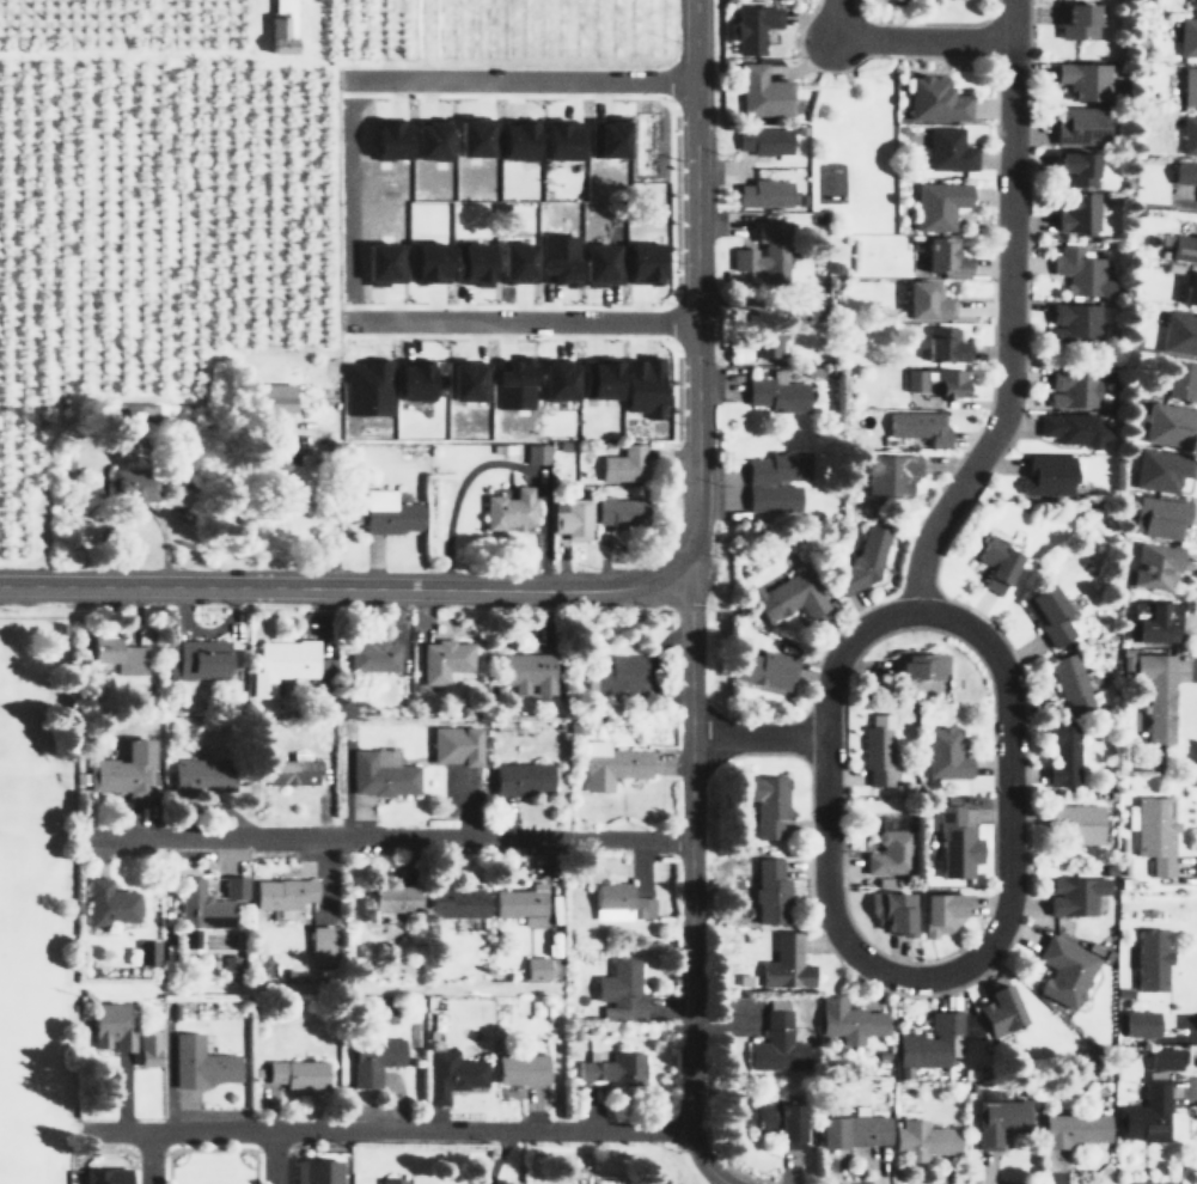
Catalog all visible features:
building: (1193, 4)
building: (1076, 20)
road: (927, 22)
building: (279, 28)
building: (750, 28)
building: (1187, 36)
road: (905, 39)
road: (975, 39)
road: (871, 54)
road: (519, 78)
building: (1082, 79)
building: (1189, 85)
building: (761, 91)
building: (934, 99)
building: (1080, 124)
building: (475, 135)
building: (1189, 135)
building: (609, 136)
building: (387, 140)
building: (427, 140)
building: (514, 140)
building: (561, 140)
building: (763, 140)
park: (853, 147)
building: (948, 148)
building: (1075, 167)
building: (1184, 172)
building: (763, 193)
road: (342, 197)
building: (938, 205)
building: (1077, 213)
building: (1180, 245)
building: (765, 252)
building: (942, 256)
building: (556, 258)
building: (381, 262)
building: (426, 262)
building: (514, 262)
building: (641, 262)
building: (470, 263)
building: (1082, 271)
road: (697, 283)
building: (1190, 289)
building: (926, 301)
building: (806, 307)
road: (1009, 316)
road: (519, 318)
building: (1074, 322)
building: (1179, 332)
building: (768, 336)
building: (941, 343)
building: (597, 377)
building: (555, 379)
building: (914, 379)
building: (410, 380)
building: (466, 380)
building: (1180, 380)
building: (949, 383)
building: (511, 384)
building: (642, 385)
building: (366, 387)
building: (1073, 389)
building: (776, 392)
building: (269, 397)
building: (1168, 423)
building: (918, 426)
building: (1073, 428)
building: (536, 453)
road: (957, 462)
building: (624, 463)
building: (1160, 470)
building: (888, 474)
building: (1046, 475)
building: (776, 480)
building: (133, 489)
building: (509, 509)
building: (389, 512)
building: (621, 512)
building: (572, 517)
building: (1158, 518)
building: (861, 561)
building: (994, 563)
building: (1154, 566)
road: (347, 586)
road: (1195, 591)
building: (788, 596)
building: (1048, 614)
building: (1153, 621)
road: (920, 628)
building: (118, 654)
building: (374, 655)
building: (197, 658)
building: (444, 660)
building: (1126, 661)
building: (283, 664)
building: (921, 665)
building: (763, 669)
building: (529, 671)
building: (623, 673)
building: (1070, 682)
building: (1158, 694)
road: (1028, 702)
park: (4, 707)
building: (456, 736)
road: (807, 737)
road: (758, 738)
building: (878, 749)
building: (610, 753)
building: (943, 753)
building: (1062, 755)
building: (378, 762)
building: (518, 769)
building: (124, 770)
building: (292, 770)
building: (203, 774)
building: (769, 804)
building: (1077, 822)
building: (1154, 831)
road: (395, 836)
building: (955, 844)
road: (1010, 849)
road: (691, 880)
building: (233, 885)
building: (281, 891)
building: (770, 891)
building: (391, 896)
building: (1074, 896)
building: (454, 899)
building: (109, 902)
building: (621, 902)
building: (521, 903)
building: (199, 911)
building: (891, 913)
building: (940, 913)
building: (322, 944)
building: (148, 951)
park: (16, 956)
building: (1149, 958)
building: (786, 963)
building: (536, 966)
building: (1064, 970)
road: (383, 987)
building: (621, 989)
building: (997, 1008)
building: (849, 1020)
building: (1138, 1021)
building: (112, 1025)
building: (777, 1040)
building: (927, 1043)
building: (147, 1046)
building: (1162, 1057)
building: (373, 1058)
building: (200, 1062)
building: (612, 1067)
building: (518, 1068)
building: (298, 1073)
building: (450, 1073)
building: (1144, 1113)
building: (1001, 1119)
building: (780, 1121)
building: (1075, 1128)
building: (854, 1130)
park: (18, 1131)
road: (391, 1131)
building: (923, 1139)
road: (151, 1158)
road: (274, 1158)
road: (497, 1158)
building: (314, 1171)
building: (105, 1174)
building: (387, 1180)

